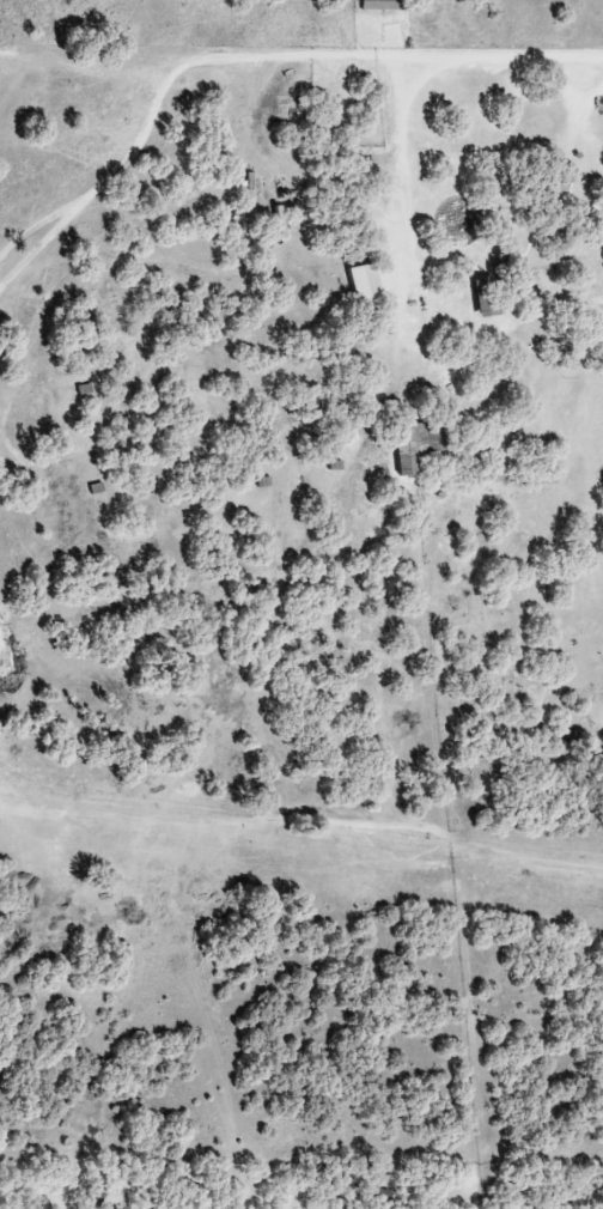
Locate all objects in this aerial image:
road: (401, 28)
road: (300, 59)
road: (568, 92)
road: (585, 140)
road: (403, 168)
building: (363, 284)
building: (414, 448)

